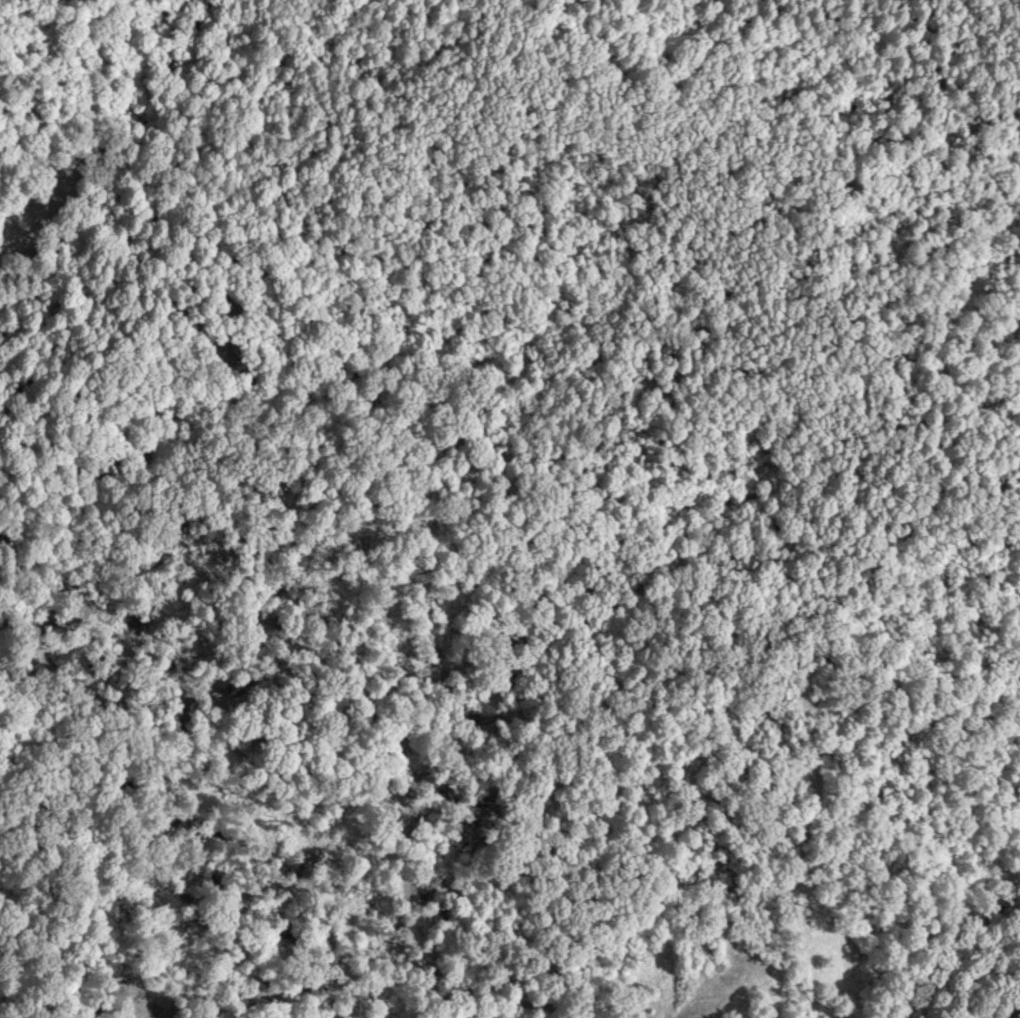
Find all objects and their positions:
building: (713, 964)

